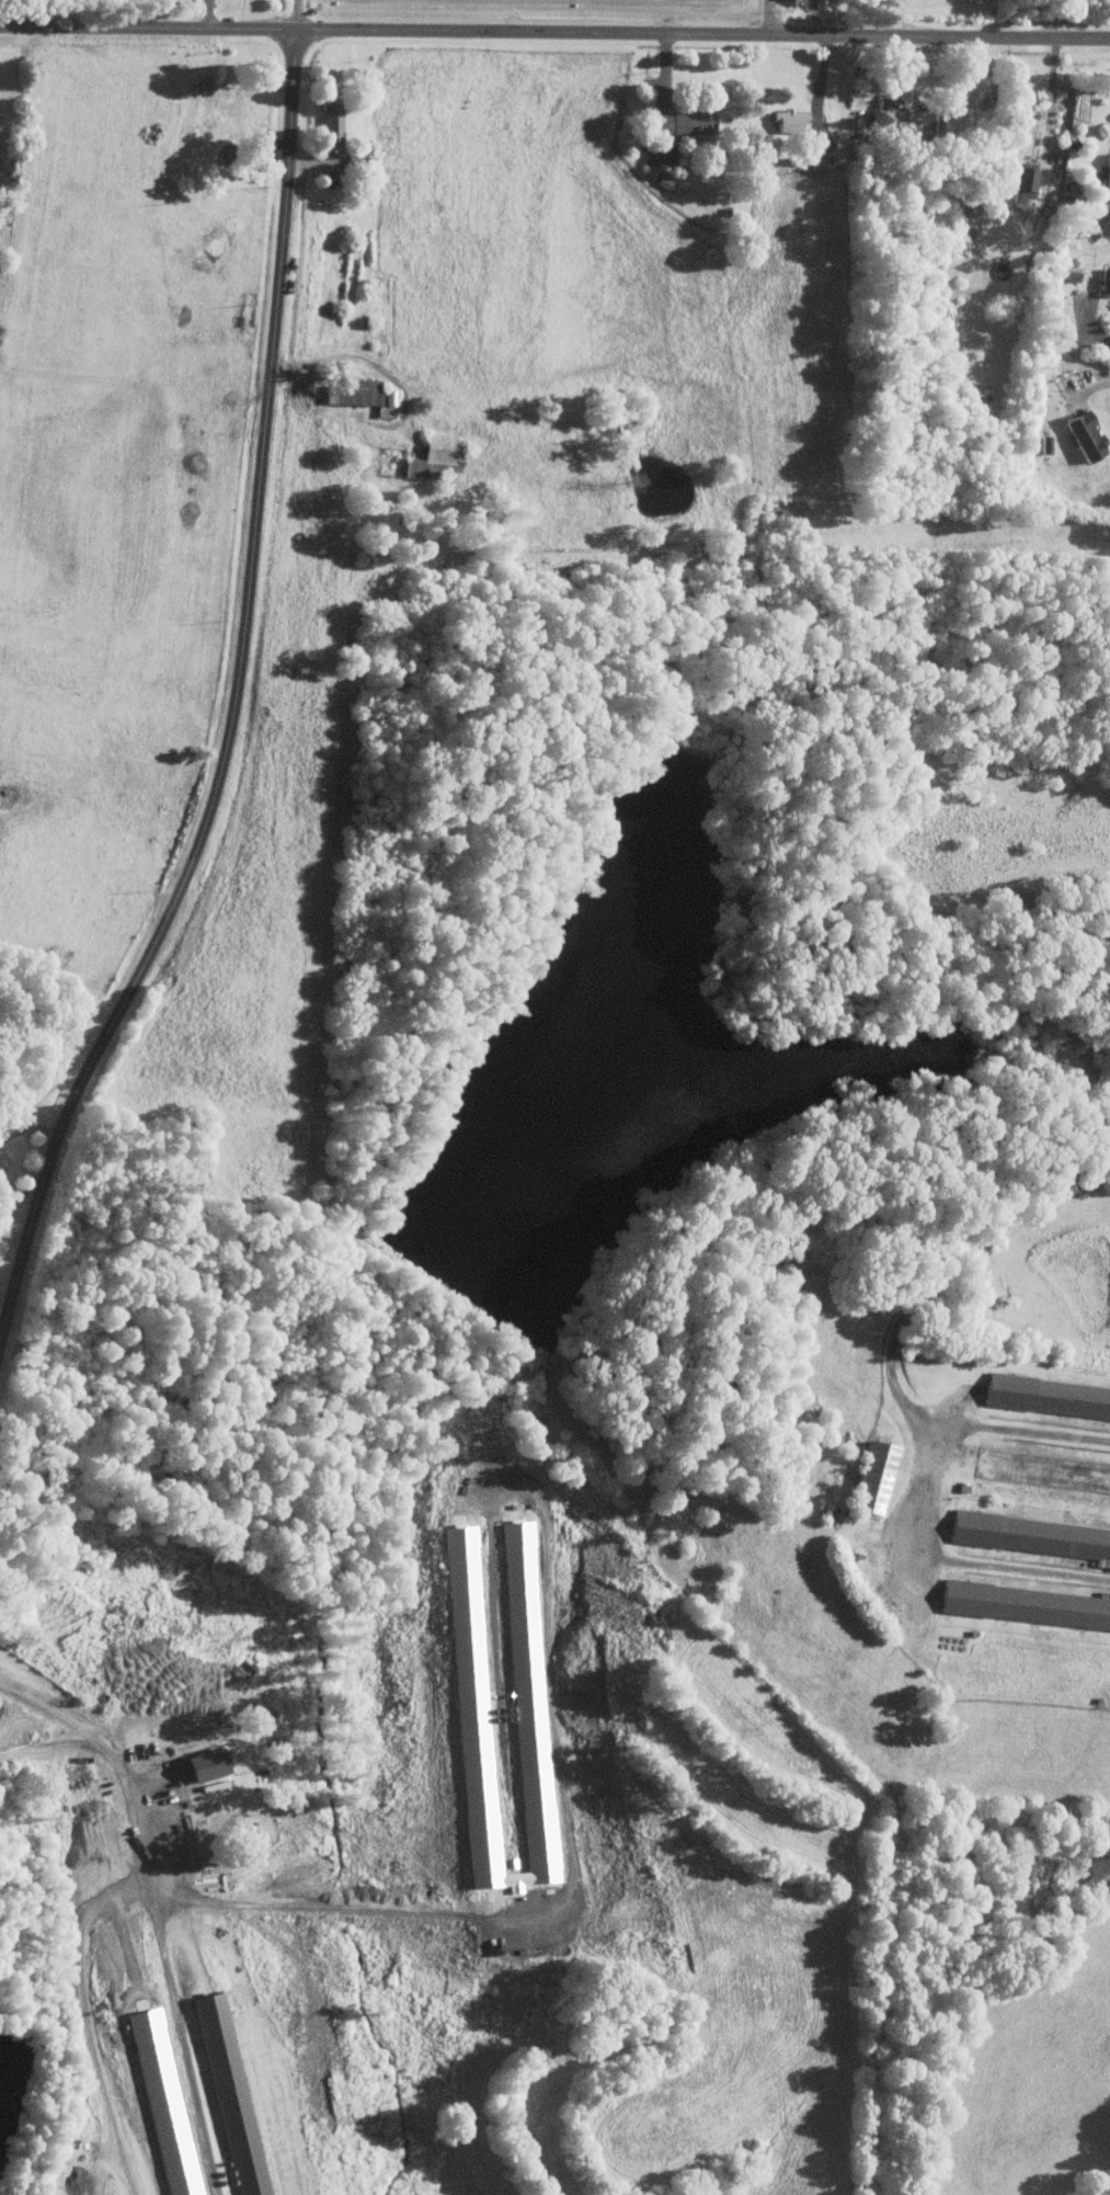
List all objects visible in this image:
road: (293, 14)
road: (769, 15)
road: (554, 30)
road: (823, 83)
road: (1051, 94)
building: (905, 116)
building: (789, 118)
building: (684, 123)
building: (331, 126)
building: (1107, 179)
building: (1022, 181)
road: (1090, 323)
road: (347, 355)
road: (1095, 388)
building: (359, 394)
building: (1085, 435)
building: (433, 456)
road: (232, 713)
road: (27, 1128)
road: (19, 1186)
road: (1003, 1217)
road: (901, 1318)
building: (1046, 1397)
building: (872, 1476)
building: (1032, 1536)
road: (958, 1559)
building: (1026, 1604)
building: (468, 1697)
road: (54, 1713)
building: (202, 1764)
road: (563, 1782)
road: (241, 1902)
road: (344, 1908)
road: (155, 1917)
building: (231, 2093)

